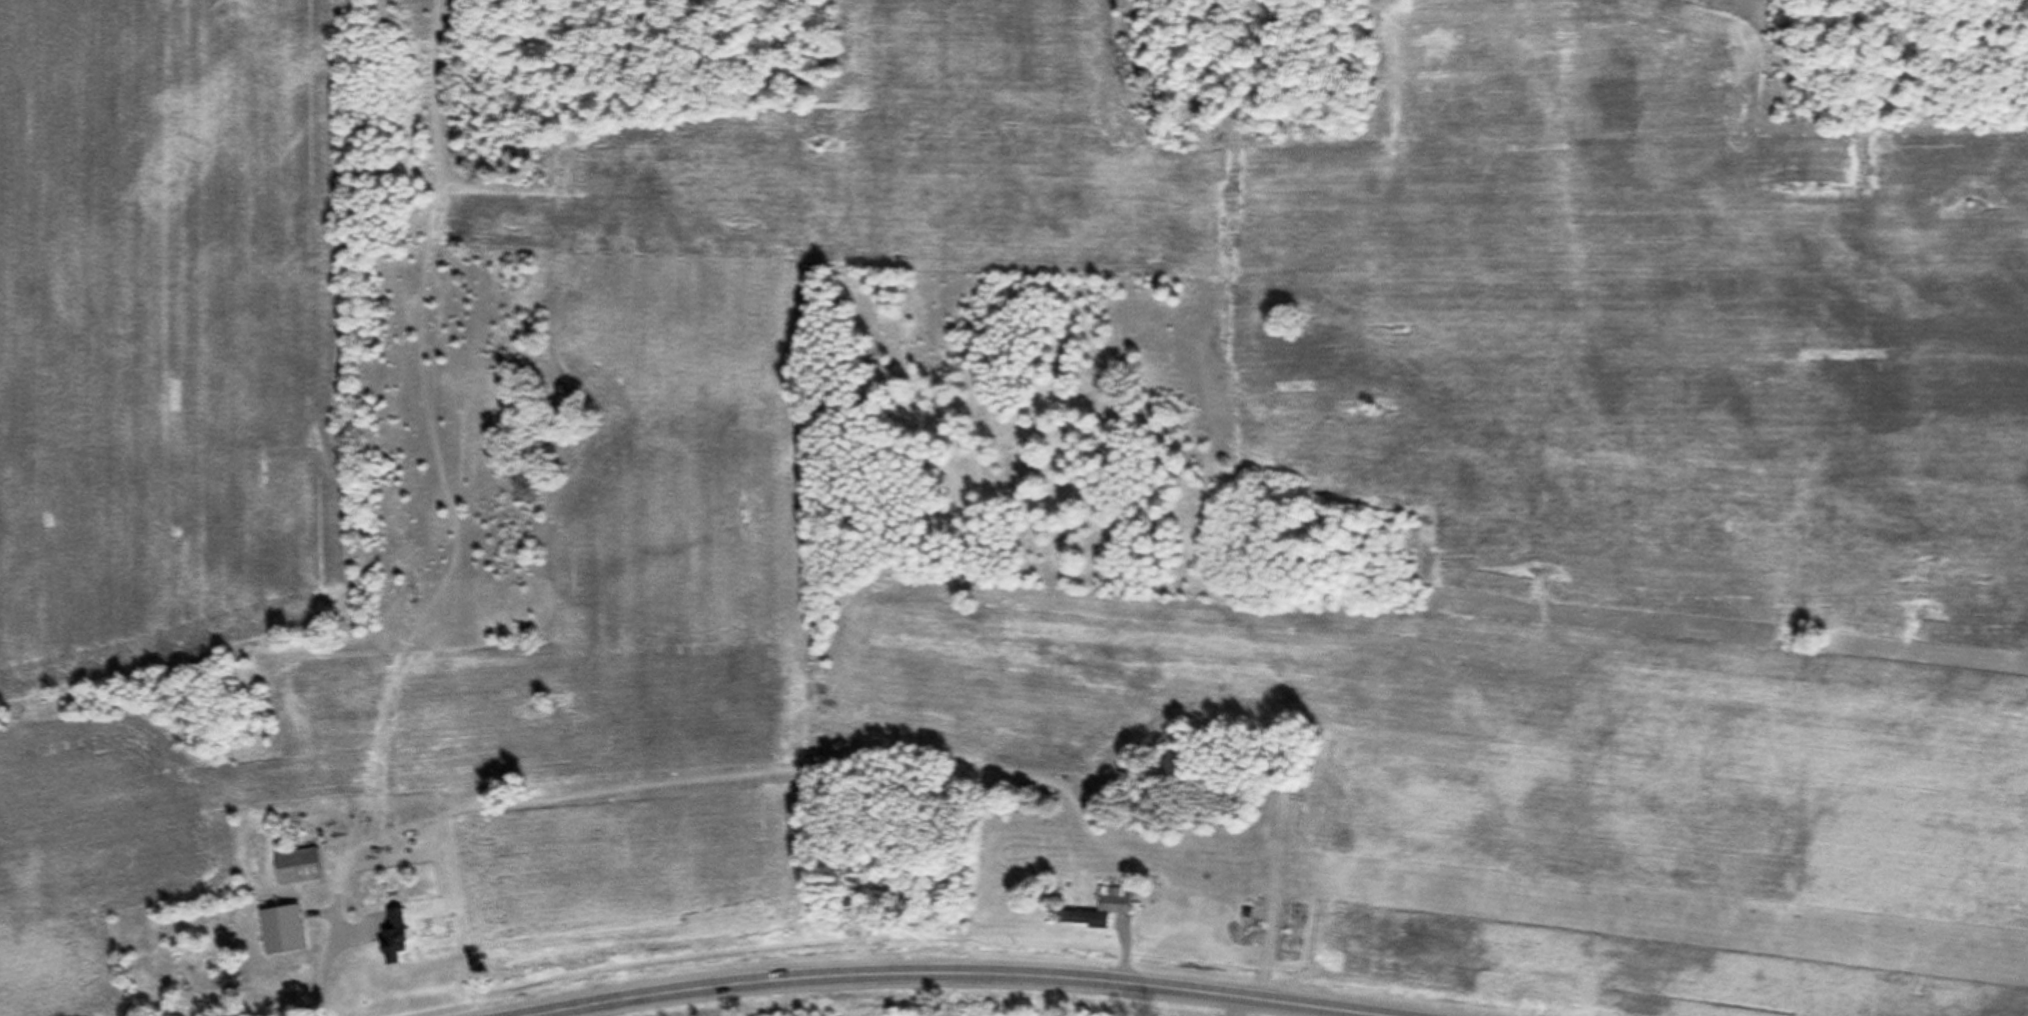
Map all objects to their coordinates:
building: (296, 875)
building: (1113, 908)
airport runway: (1676, 925)
building: (279, 938)
building: (1285, 938)
building: (1249, 940)
building: (393, 947)
road: (956, 989)
crop: (1051, 1015)

